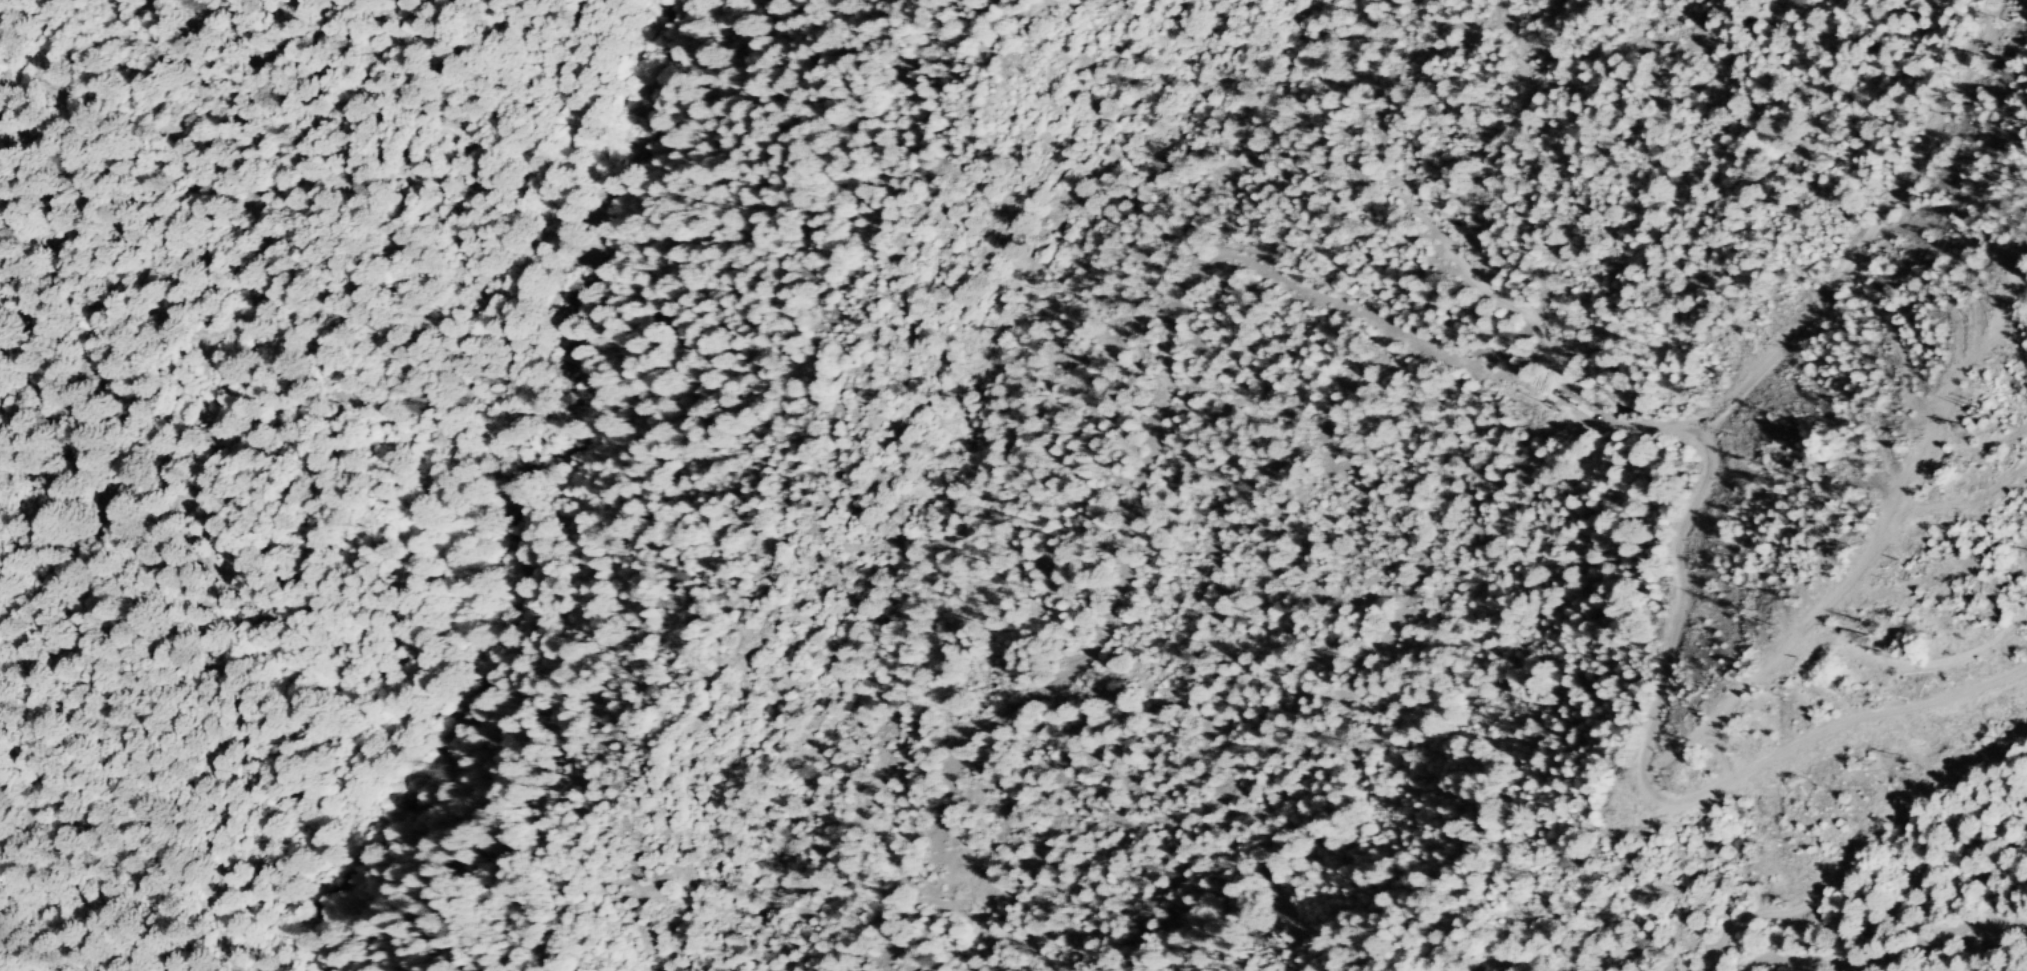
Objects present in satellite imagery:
road: (1818, 810)

